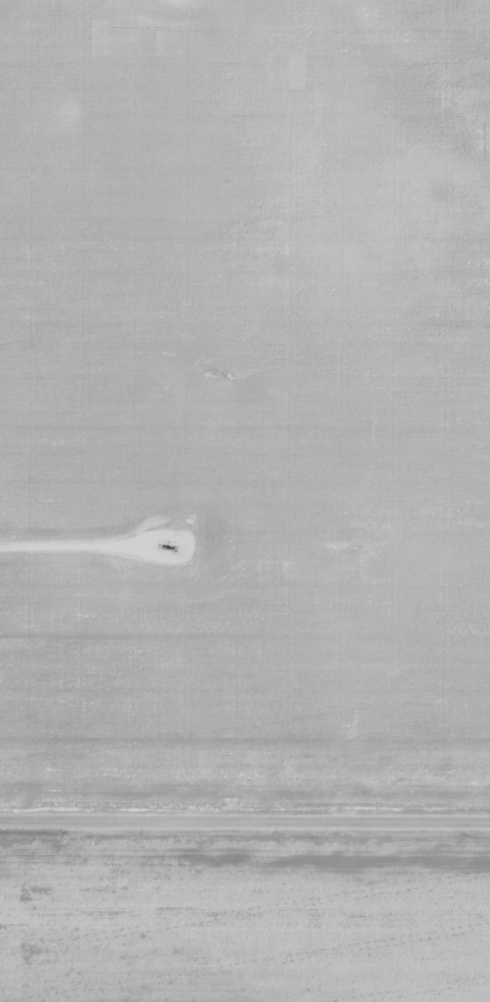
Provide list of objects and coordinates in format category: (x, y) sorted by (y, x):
road: (245, 815)

